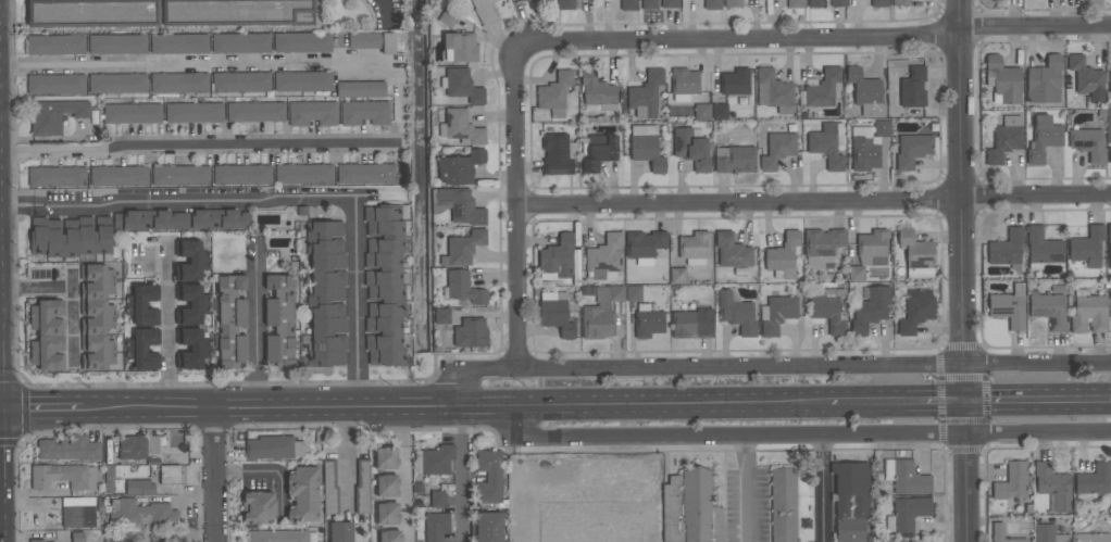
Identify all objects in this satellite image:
building: (536, 0)
building: (900, 2)
building: (733, 3)
building: (816, 3)
building: (836, 3)
building: (879, 3)
building: (565, 4)
building: (649, 4)
building: (670, 4)
building: (712, 4)
building: (796, 4)
building: (628, 5)
building: (484, 11)
building: (91, 13)
building: (237, 13)
building: (448, 18)
building: (372, 41)
building: (302, 42)
road: (814, 42)
building: (240, 43)
building: (55, 45)
building: (117, 45)
building: (178, 45)
building: (459, 48)
road: (192, 63)
building: (1086, 79)
building: (1002, 80)
building: (302, 81)
building: (1044, 81)
building: (178, 83)
building: (240, 83)
building: (735, 83)
building: (117, 84)
building: (684, 84)
building: (1110, 84)
building: (55, 85)
building: (462, 86)
building: (912, 88)
building: (360, 89)
building: (823, 89)
building: (773, 91)
building: (597, 92)
building: (865, 92)
building: (554, 93)
building: (646, 96)
building: (255, 112)
building: (702, 112)
building: (719, 112)
building: (132, 113)
building: (194, 113)
building: (313, 113)
building: (364, 113)
building: (54, 115)
building: (461, 128)
building: (882, 128)
building: (1004, 139)
building: (1043, 139)
building: (826, 144)
building: (1088, 144)
road: (200, 148)
building: (646, 148)
building: (691, 148)
building: (777, 150)
building: (864, 150)
building: (597, 151)
building: (912, 151)
building: (555, 154)
building: (1110, 155)
building: (735, 159)
building: (459, 167)
building: (303, 174)
building: (366, 174)
building: (241, 175)
building: (118, 176)
building: (179, 176)
building: (57, 177)
road: (814, 202)
road: (194, 204)
road: (13, 206)
road: (30, 206)
building: (458, 206)
road: (517, 207)
building: (180, 219)
building: (70, 237)
building: (872, 243)
building: (1109, 243)
building: (644, 247)
building: (1087, 247)
building: (462, 248)
building: (694, 248)
building: (823, 248)
building: (1043, 248)
building: (1007, 250)
building: (732, 251)
building: (916, 255)
building: (784, 256)
building: (604, 257)
building: (557, 259)
building: (190, 260)
road: (960, 270)
building: (856, 274)
building: (677, 276)
building: (385, 285)
building: (463, 288)
road: (71, 291)
building: (633, 293)
building: (325, 294)
building: (191, 304)
building: (142, 305)
road: (357, 306)
building: (1009, 306)
building: (831, 310)
building: (870, 310)
building: (916, 311)
building: (1049, 311)
building: (599, 312)
building: (240, 313)
building: (555, 313)
building: (1089, 313)
building: (737, 314)
building: (776, 314)
building: (441, 316)
building: (97, 317)
building: (279, 319)
building: (647, 322)
building: (691, 324)
road: (255, 328)
road: (168, 333)
building: (470, 333)
building: (47, 335)
building: (191, 348)
building: (142, 349)
road: (767, 368)
road: (895, 402)
traffic signals: (961, 402)
road: (1036, 402)
road: (455, 409)
road: (41, 412)
road: (801, 434)
building: (137, 446)
building: (273, 448)
building: (70, 449)
road: (347, 456)
building: (385, 458)
building: (434, 461)
building: (171, 475)
road: (409, 476)
road: (460, 476)
building: (63, 477)
building: (489, 477)
building: (904, 477)
road: (215, 478)
building: (1093, 481)
building: (1011, 482)
building: (387, 486)
building: (1052, 487)
building: (139, 488)
building: (329, 488)
road: (746, 488)
road: (822, 488)
building: (362, 489)
building: (302, 494)
building: (636, 497)
building: (438, 500)
building: (850, 502)
building: (784, 506)
building: (258, 507)
building: (78, 513)
building: (141, 514)
building: (387, 514)
building: (907, 514)
building: (436, 527)
building: (488, 527)
building: (587, 530)
building: (340, 532)
building: (1001, 533)
building: (1048, 534)
building: (389, 535)
building: (77, 537)
building: (278, 537)
building: (1093, 538)
building: (36, 541)

